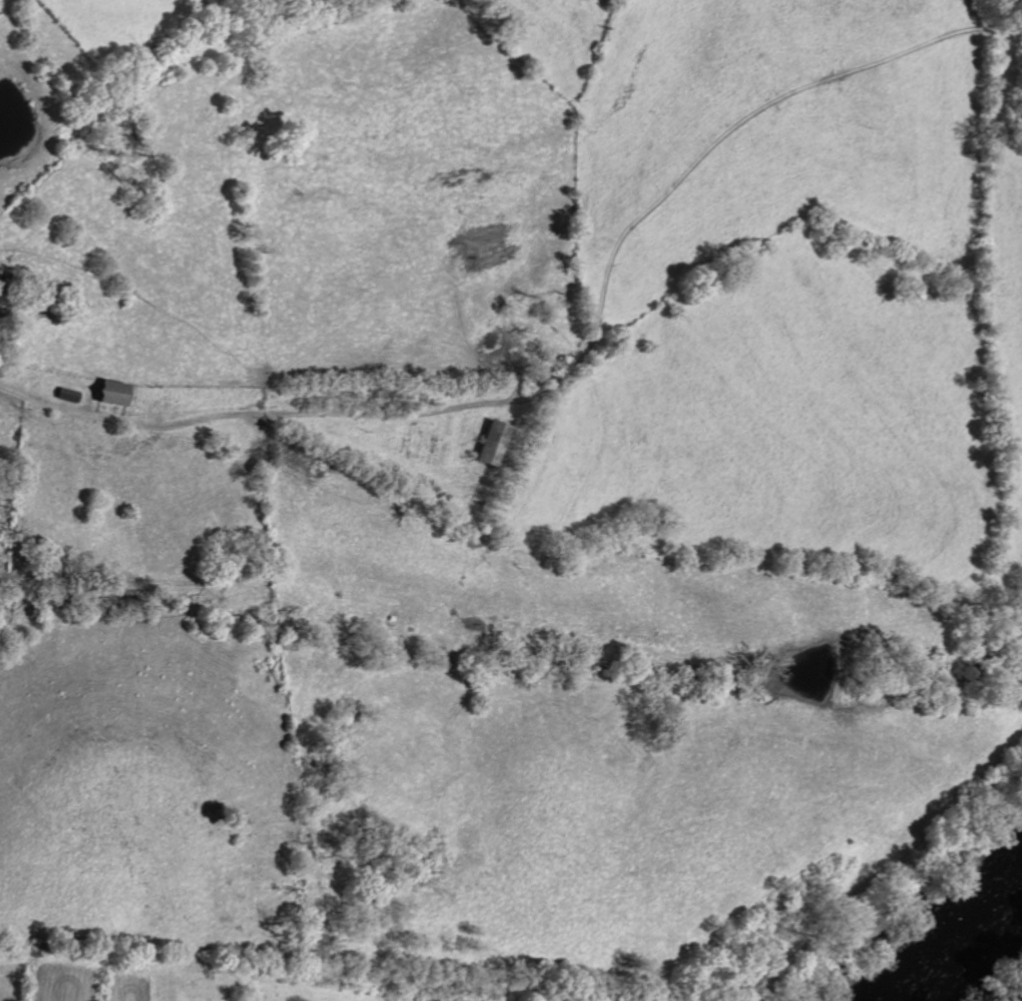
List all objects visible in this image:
road: (577, 362)
building: (111, 391)
building: (491, 442)
river: (944, 927)

